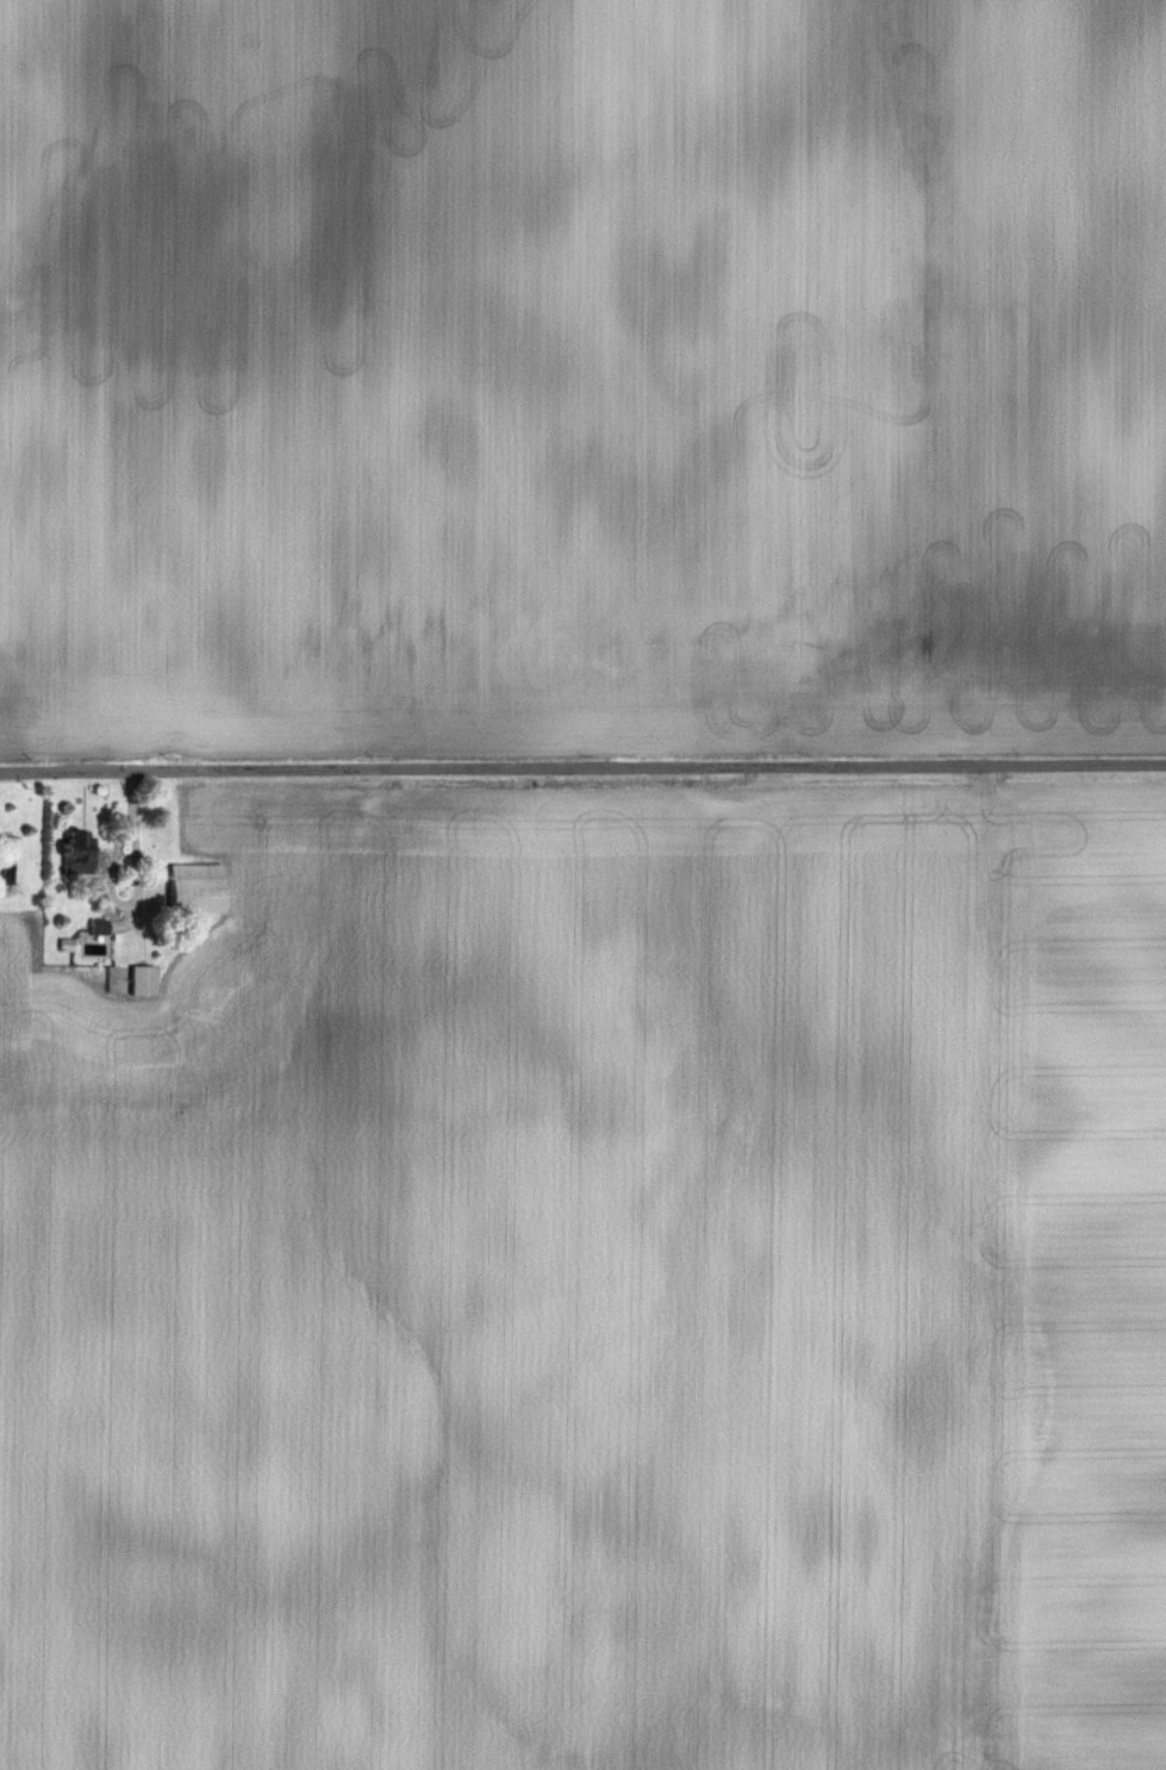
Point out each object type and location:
road: (582, 767)
building: (77, 850)
building: (7, 859)
building: (193, 890)
building: (141, 980)

